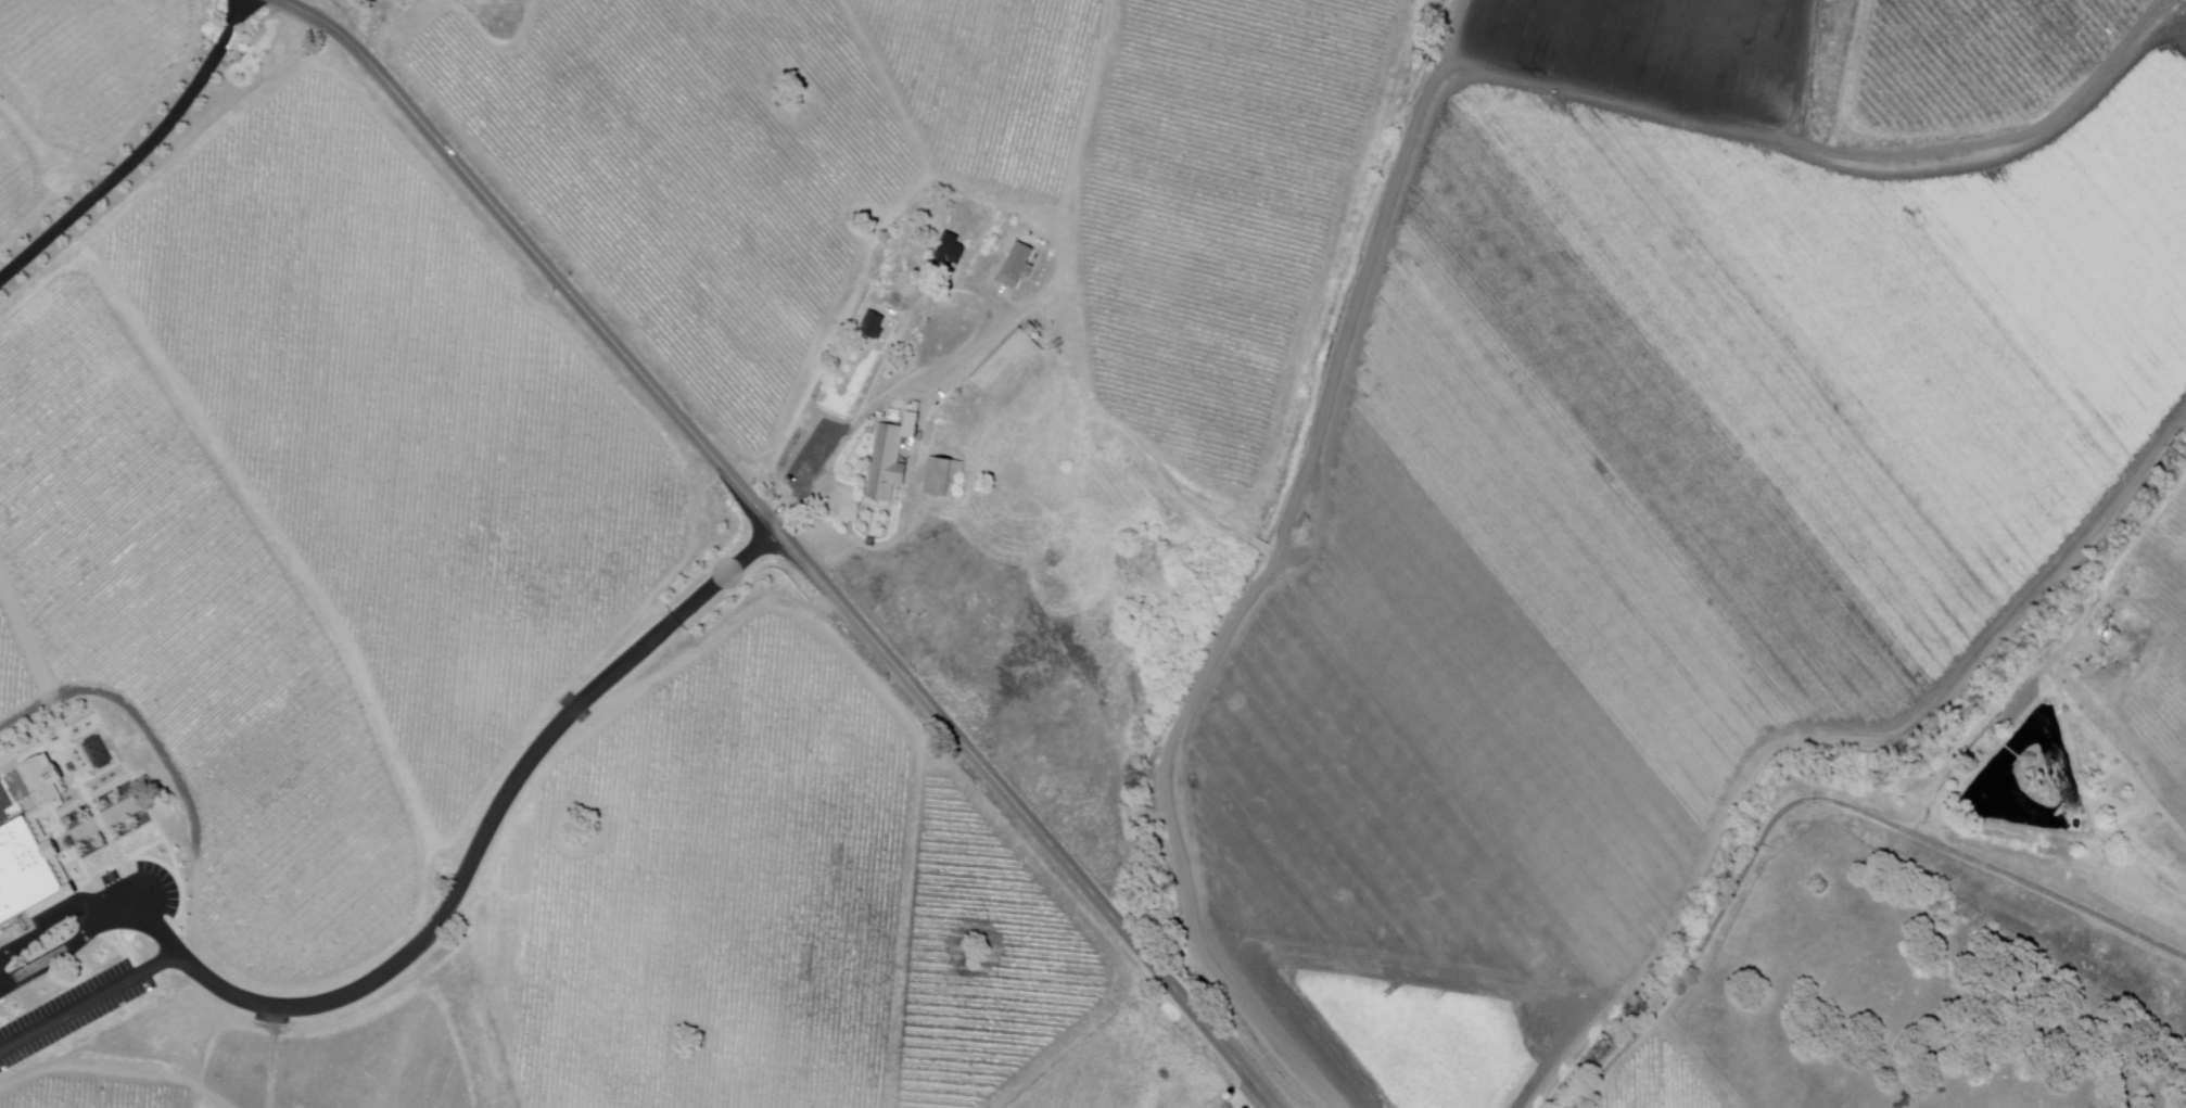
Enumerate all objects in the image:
crop: (1664, 51)
road: (140, 156)
building: (950, 252)
building: (1019, 262)
building: (874, 327)
building: (1009, 362)
building: (887, 464)
building: (944, 479)
road: (785, 539)
crop: (1650, 545)
building: (1258, 547)
road: (554, 736)
building: (41, 780)
road: (1819, 801)
building: (29, 876)
road: (1248, 1103)

